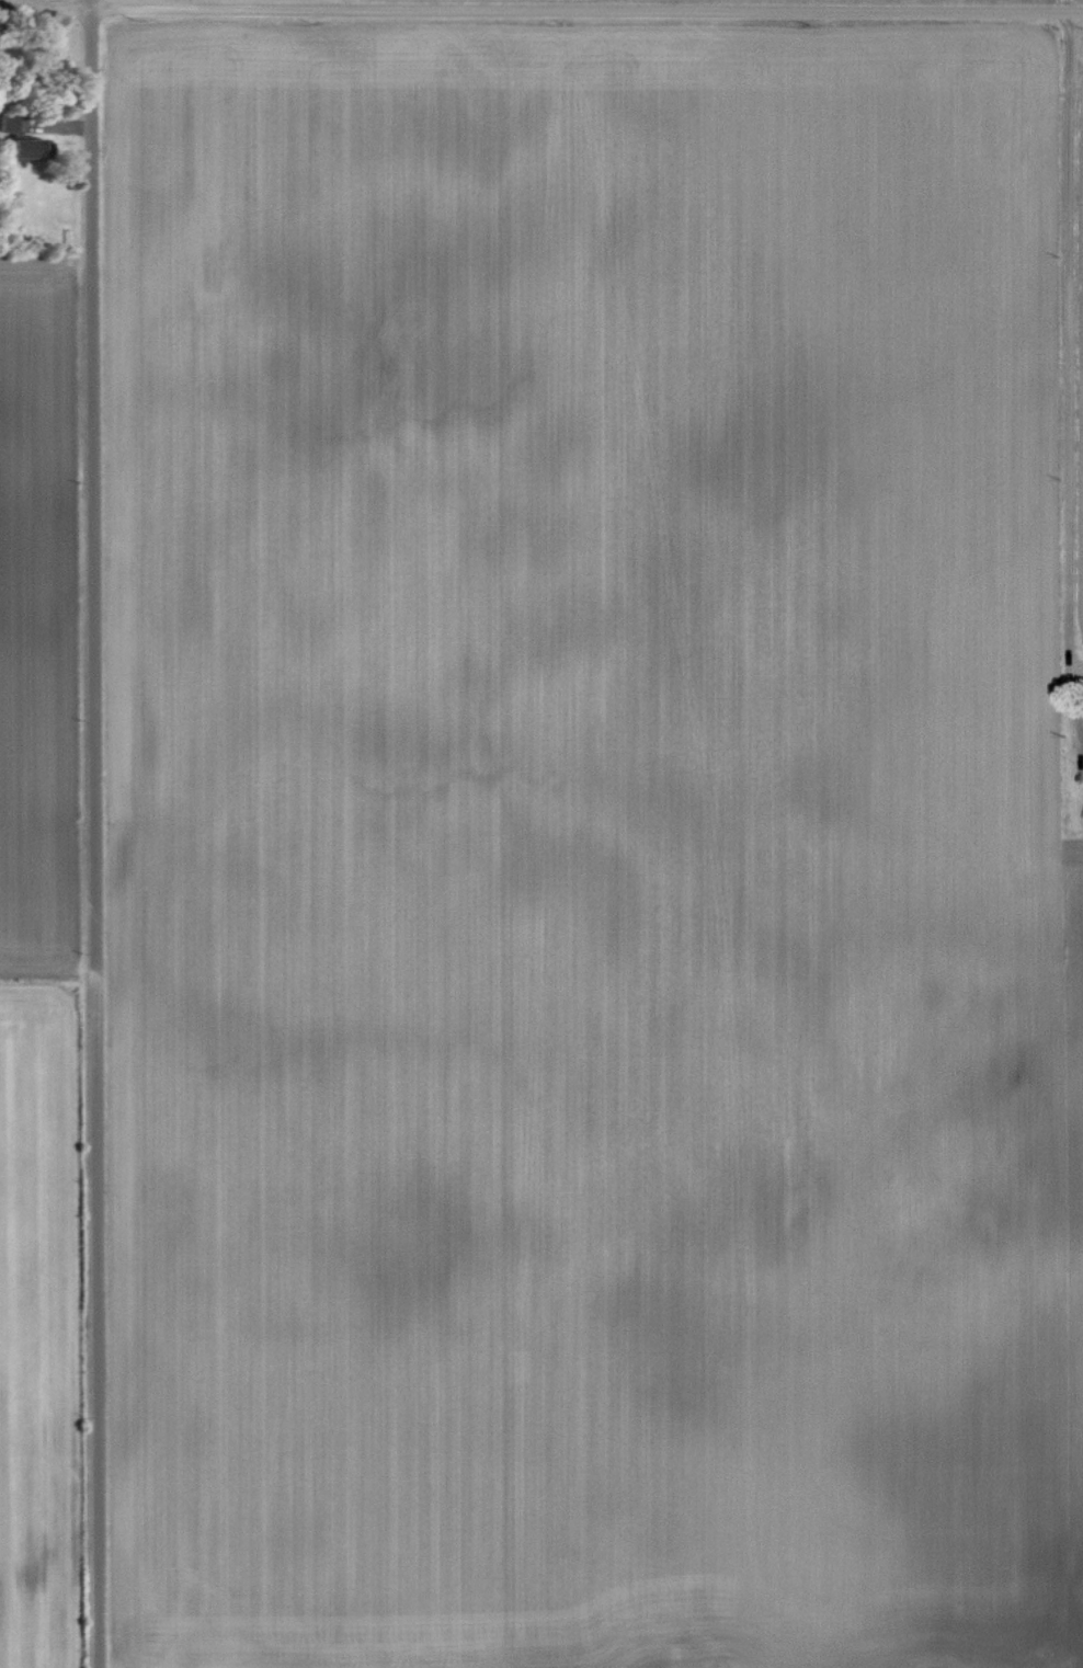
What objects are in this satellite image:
road: (541, 5)
building: (7, 124)
building: (15, 150)
road: (1063, 377)
road: (92, 833)

